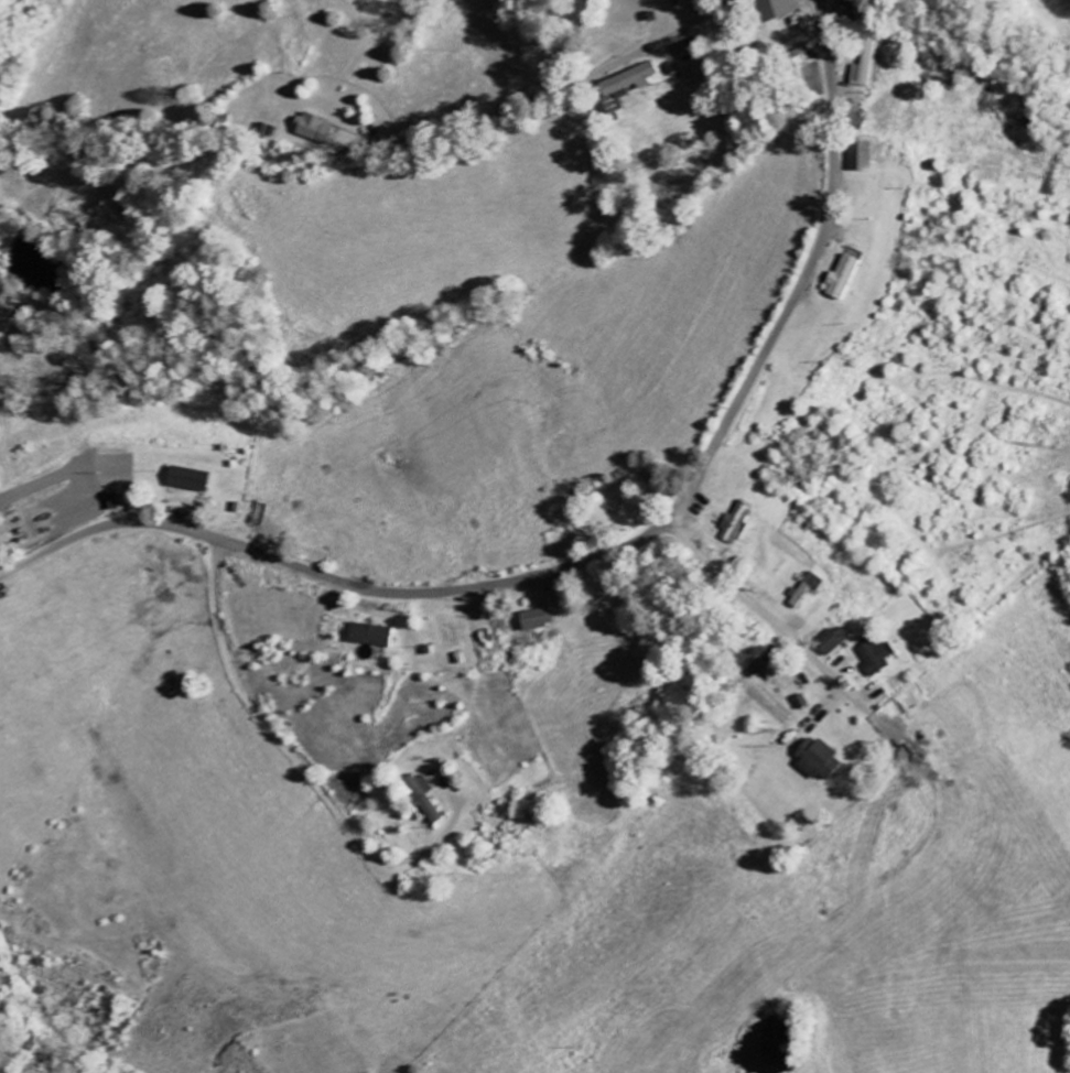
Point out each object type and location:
building: (776, 9)
building: (865, 66)
road: (568, 89)
building: (313, 129)
building: (861, 156)
road: (808, 273)
building: (843, 279)
building: (187, 480)
building: (736, 524)
road: (332, 578)
building: (807, 589)
road: (760, 607)
building: (536, 620)
building: (369, 637)
building: (832, 642)
building: (879, 655)
building: (818, 760)
building: (421, 796)

